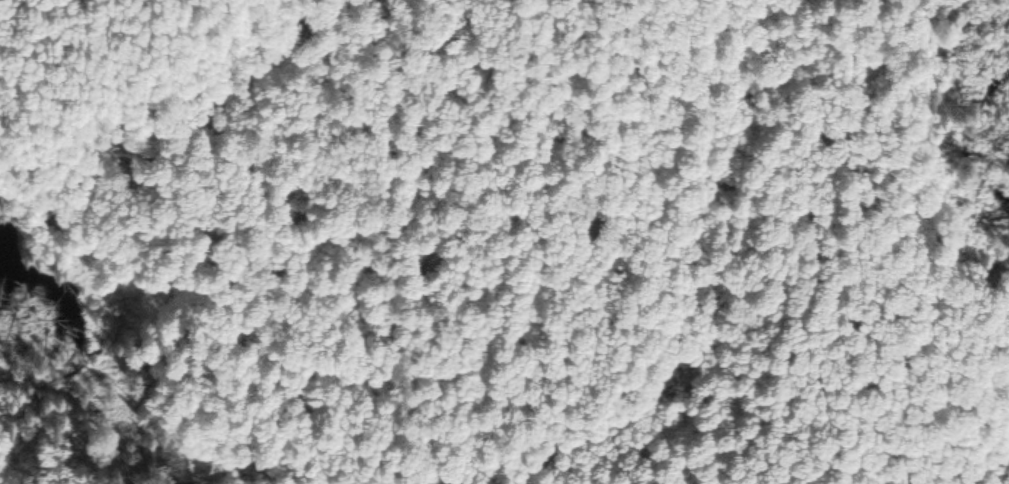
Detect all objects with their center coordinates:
river: (992, 181)

